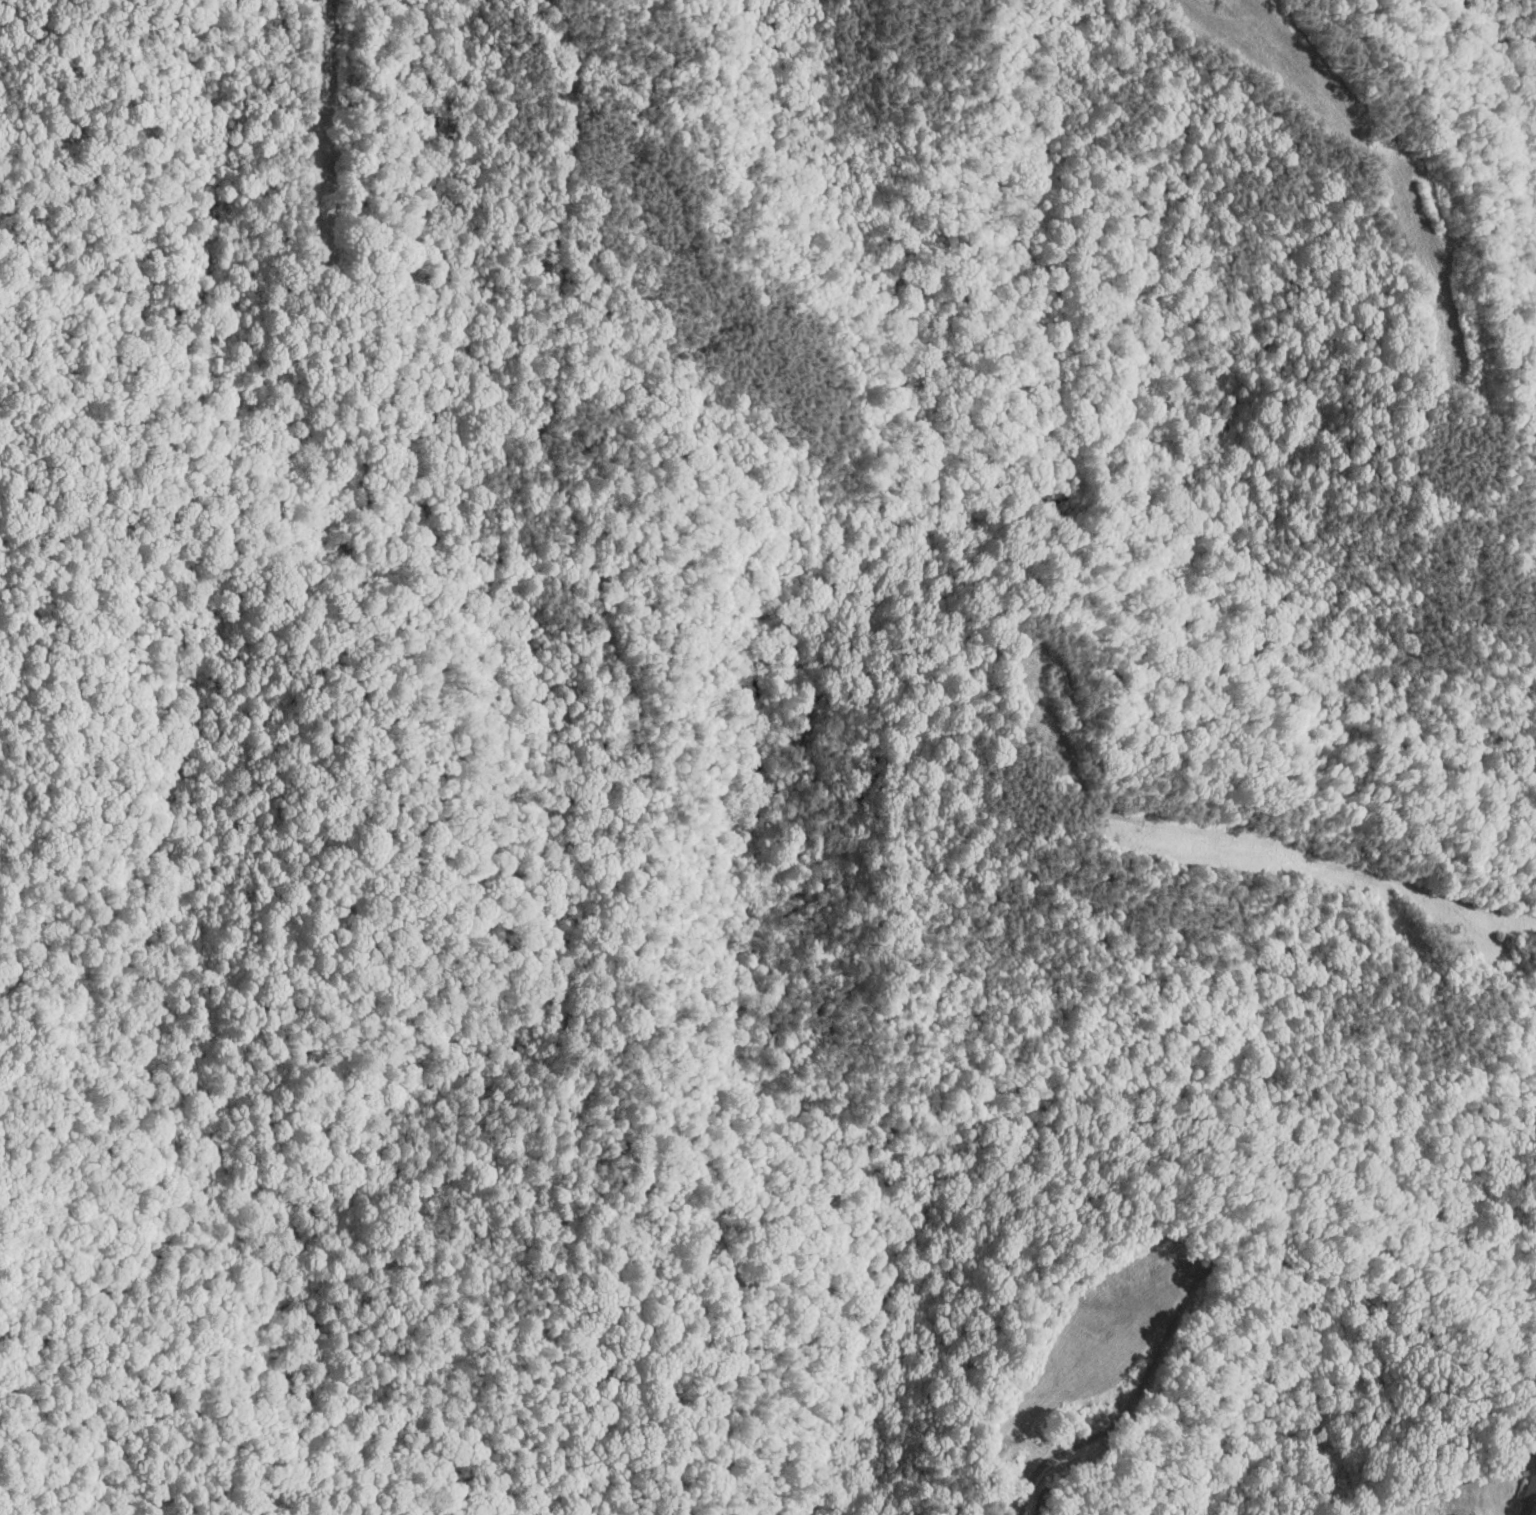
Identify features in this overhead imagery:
building: (1520, 1481)

